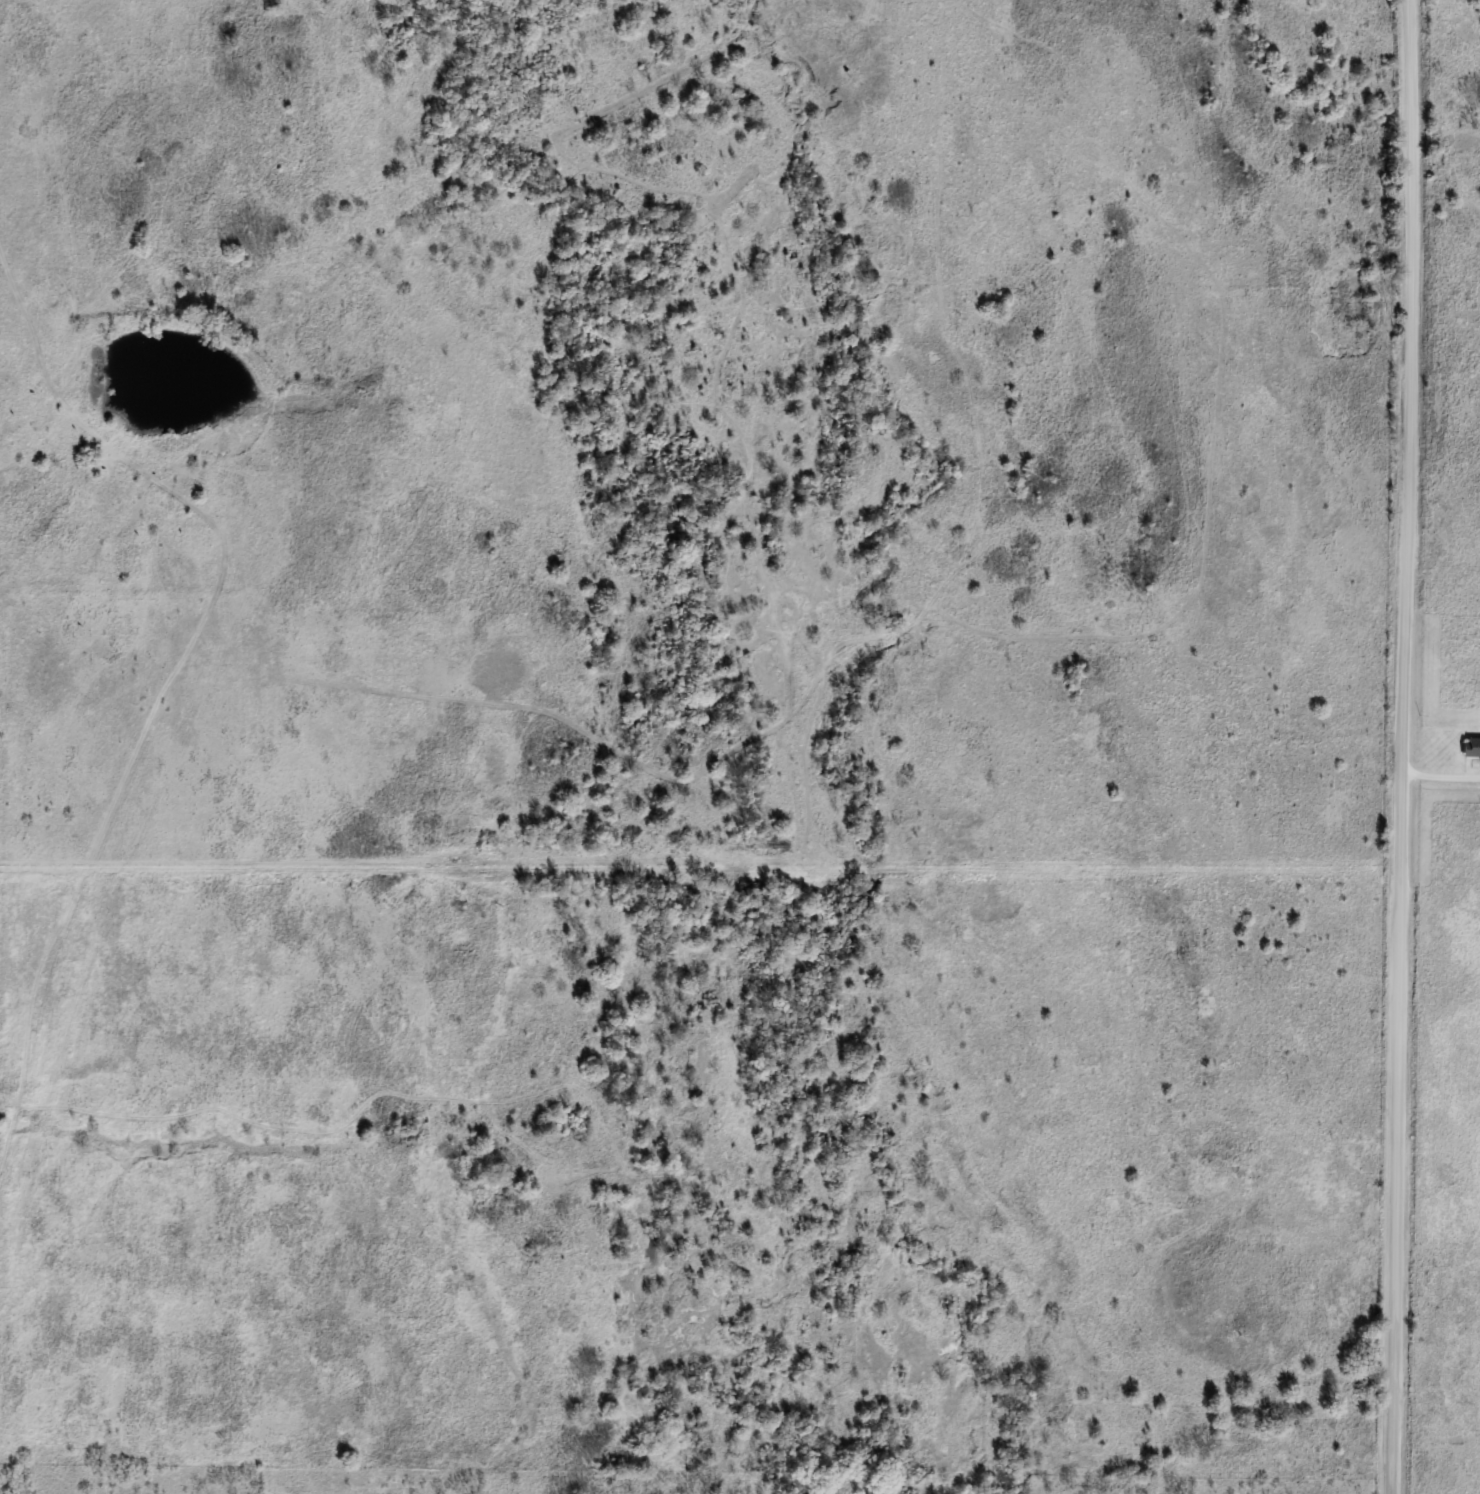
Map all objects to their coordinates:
road: (1406, 746)
building: (1468, 748)

